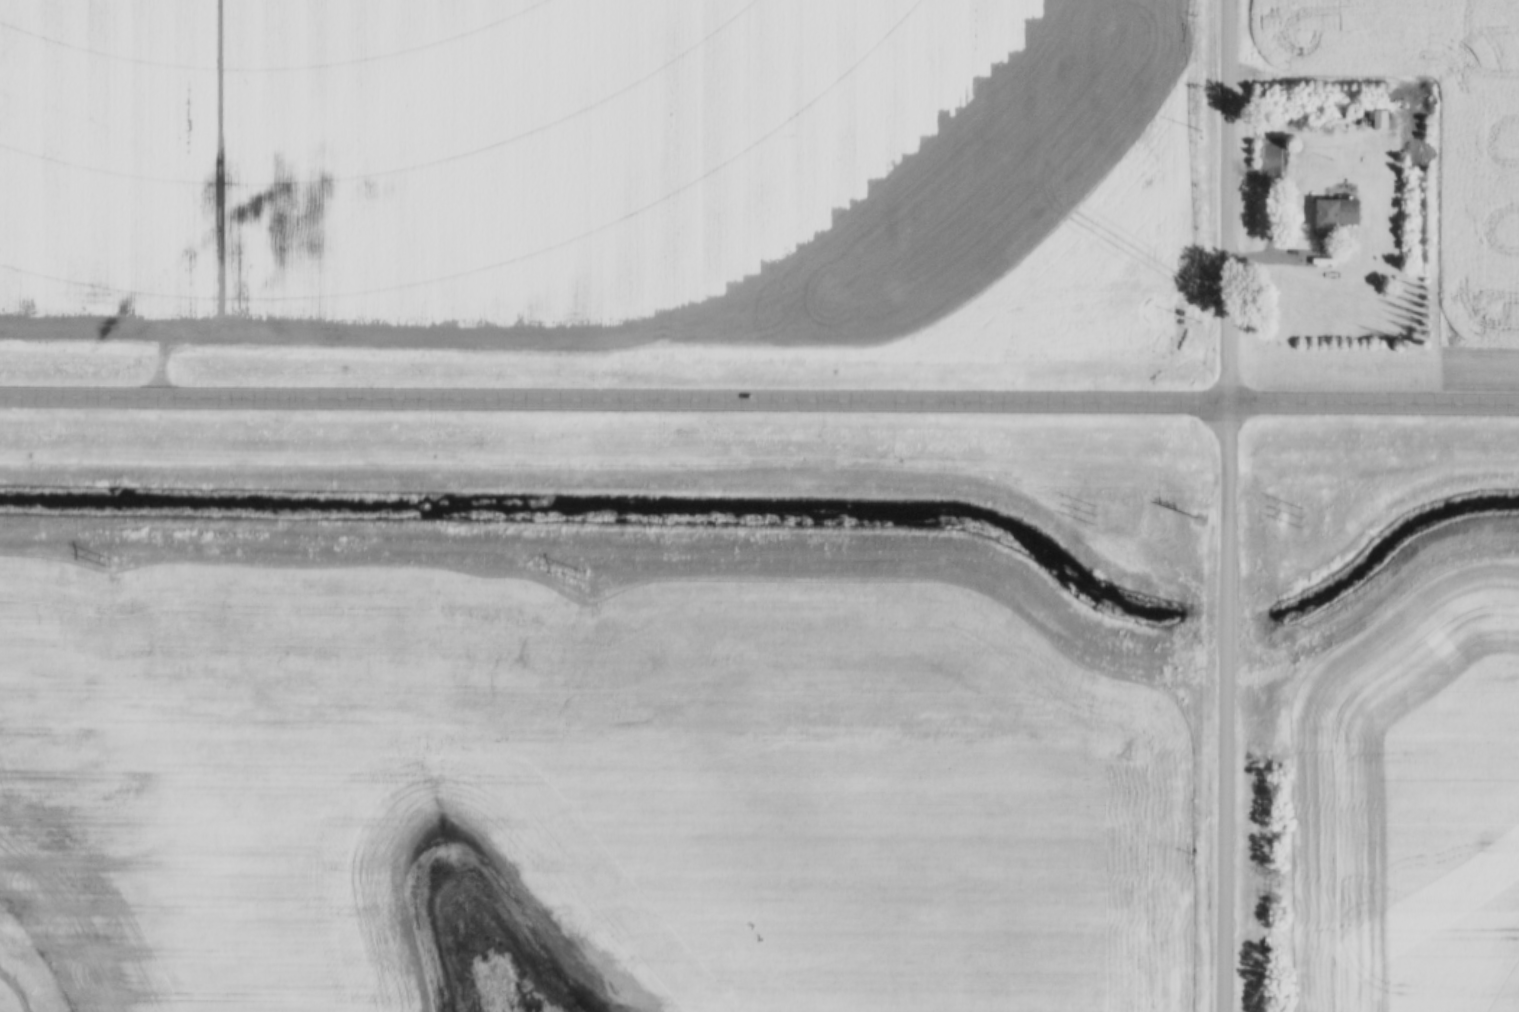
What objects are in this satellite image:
building: (1336, 217)
road: (759, 402)
road: (1226, 505)
power tower: (183, 507)
power tower: (725, 513)
power tower: (1281, 519)

